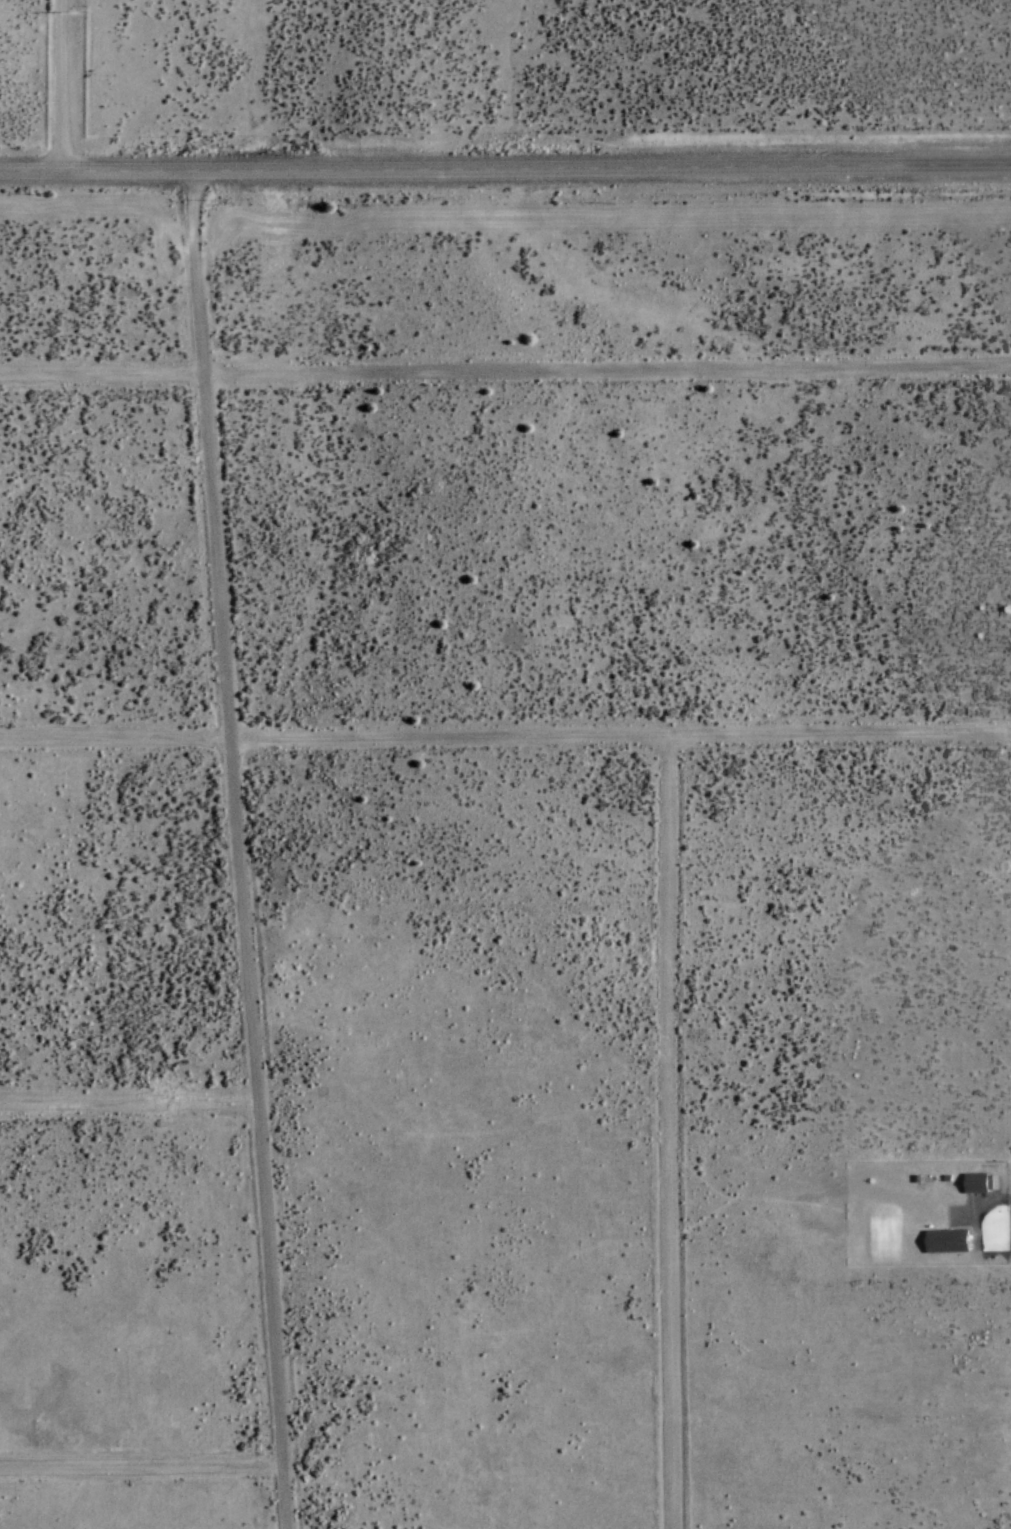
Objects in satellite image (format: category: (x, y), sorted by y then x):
road: (63, 87)
road: (505, 170)
road: (505, 373)
road: (505, 738)
road: (242, 851)
road: (130, 1103)
road: (674, 1132)
building: (946, 1242)
road: (144, 1472)

